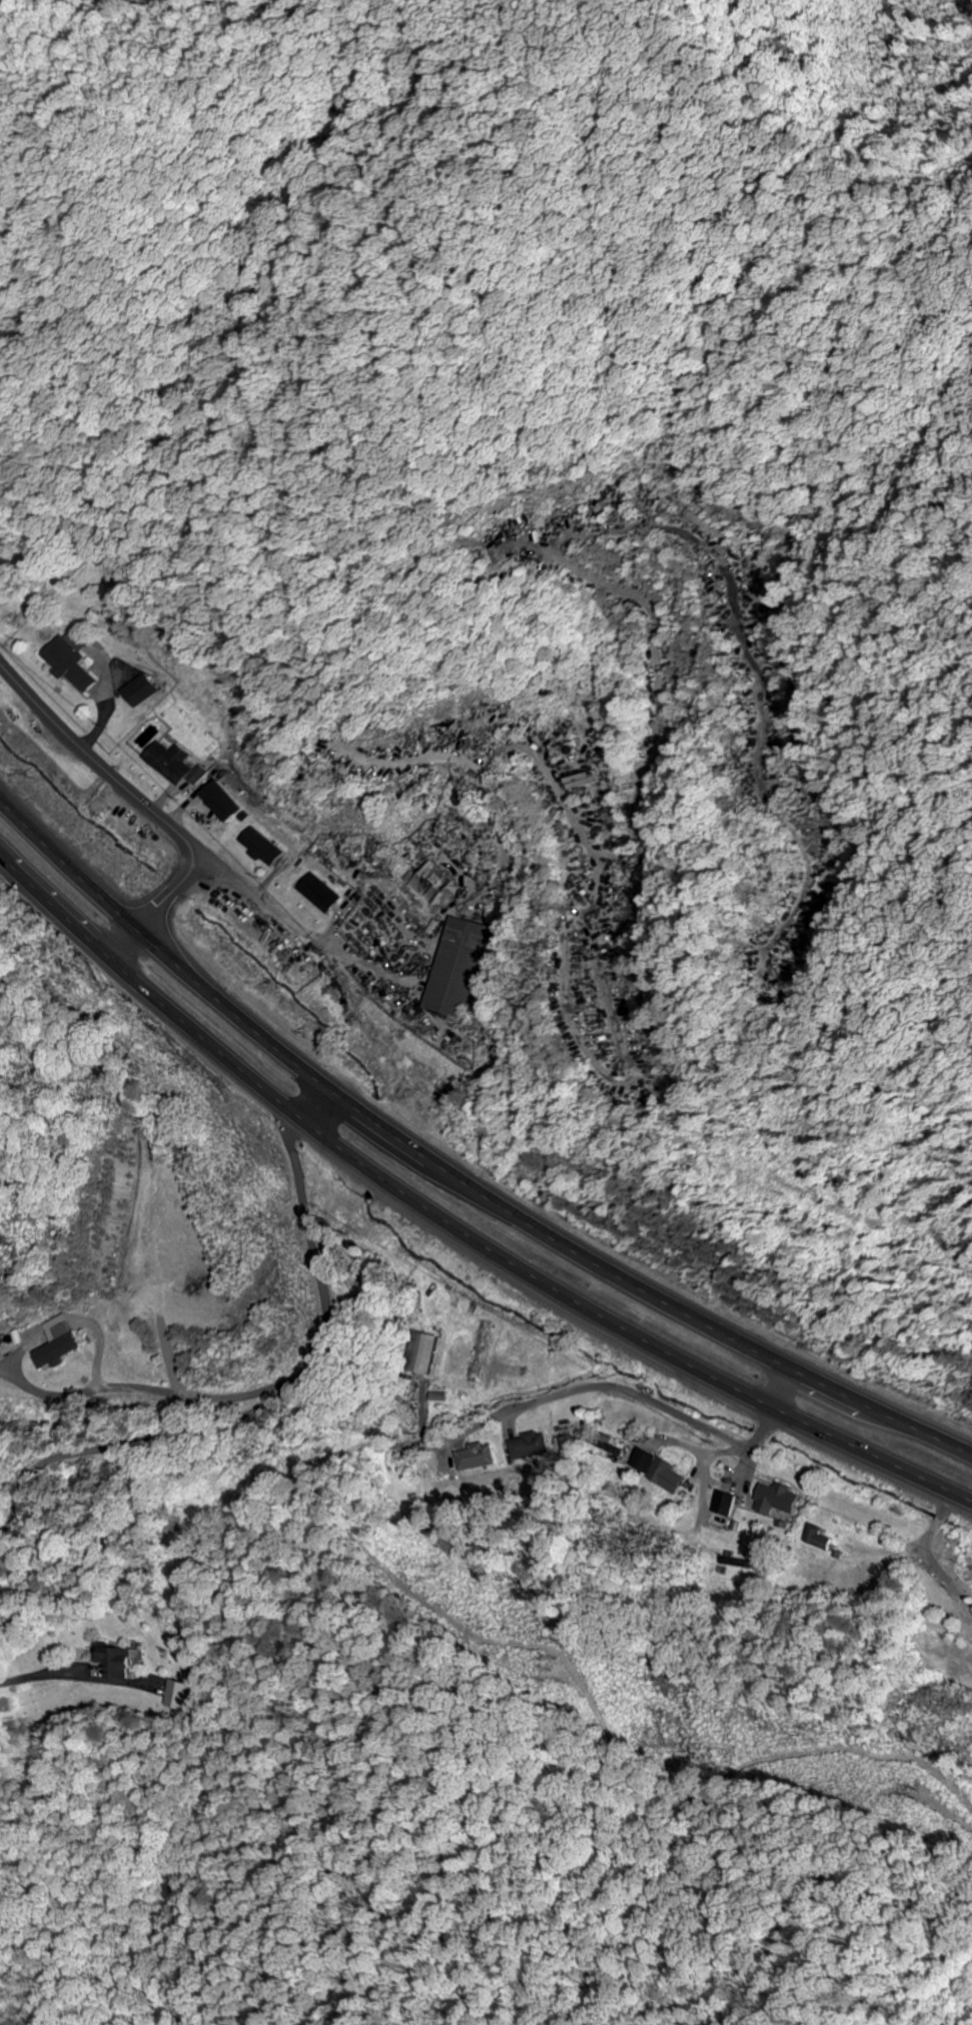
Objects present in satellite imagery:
building: (71, 661)
building: (138, 691)
building: (166, 762)
building: (220, 802)
road: (145, 808)
building: (259, 848)
road: (69, 863)
building: (432, 883)
building: (319, 894)
road: (53, 914)
building: (456, 968)
road: (536, 1224)
road: (518, 1271)
building: (54, 1344)
building: (423, 1354)
road: (787, 1393)
building: (530, 1446)
building: (475, 1458)
building: (657, 1471)
building: (777, 1500)
building: (726, 1505)
building: (820, 1540)
building: (117, 1660)
building: (178, 1695)

